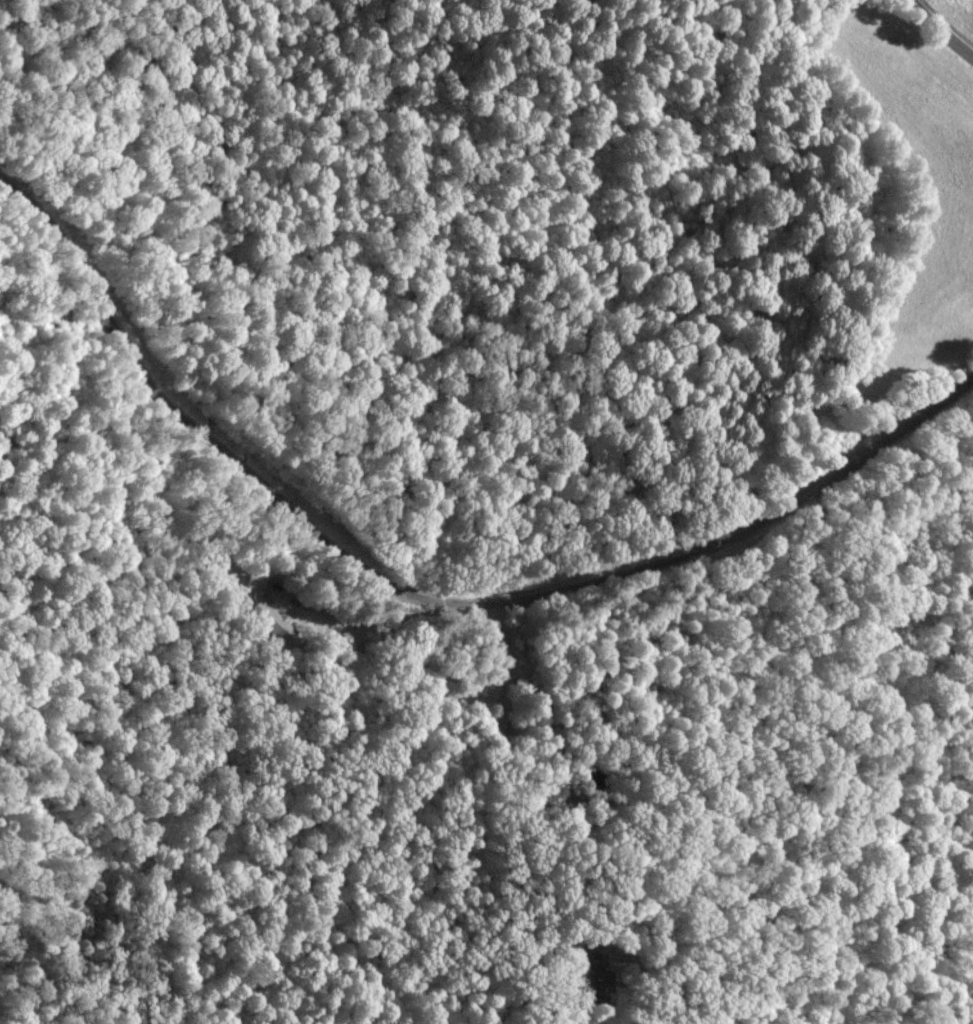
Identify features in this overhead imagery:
road: (943, 27)
road: (423, 597)
building: (267, 611)
building: (592, 979)

